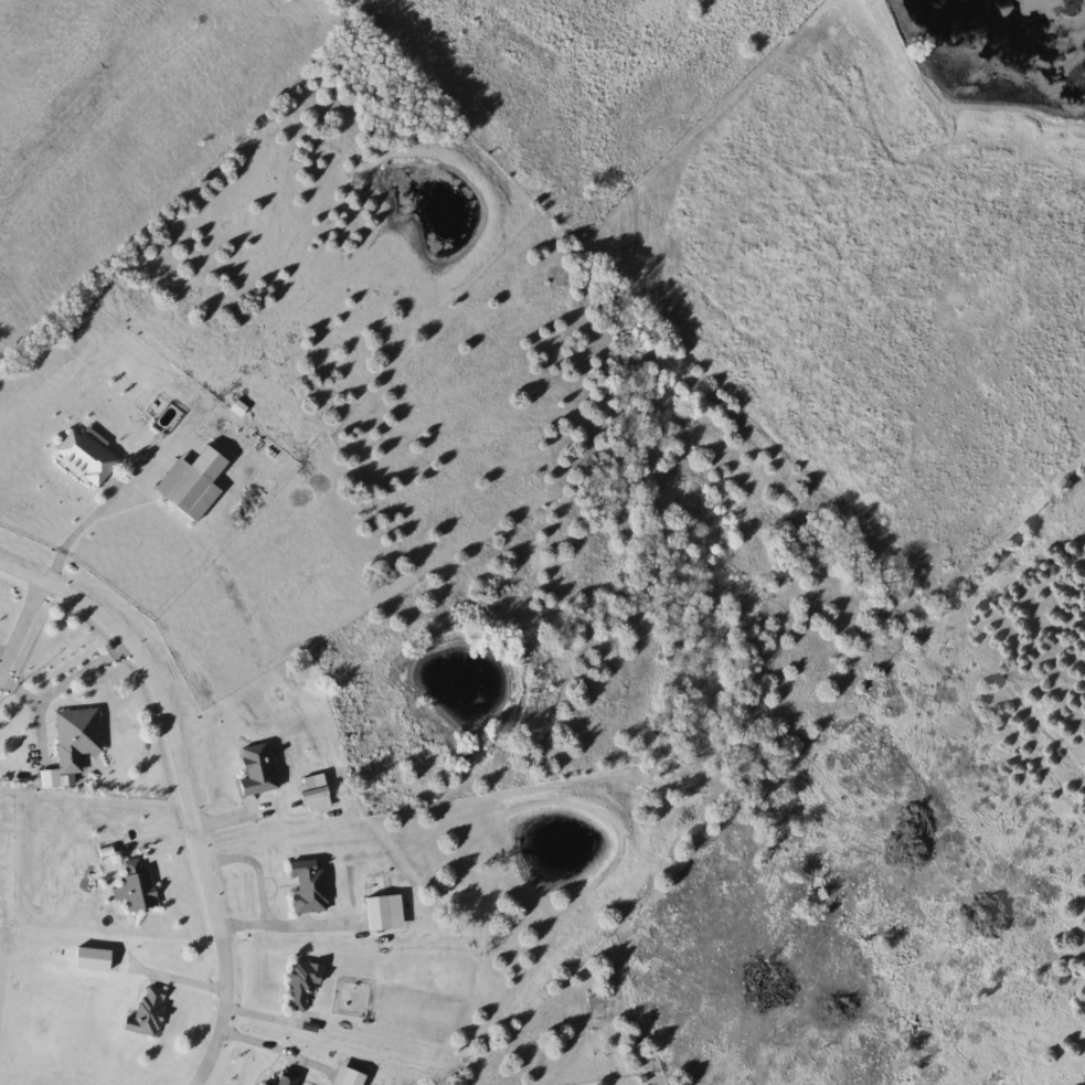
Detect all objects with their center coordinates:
building: (88, 458)
building: (196, 483)
road: (89, 522)
road: (26, 627)
road: (83, 672)
road: (36, 719)
building: (77, 736)
building: (259, 768)
road: (182, 785)
building: (317, 793)
road: (255, 866)
building: (138, 886)
building: (310, 887)
building: (387, 912)
road: (285, 926)
building: (301, 986)
building: (149, 1011)
road: (267, 1052)
building: (350, 1076)
building: (287, 1079)
building: (262, 1083)

